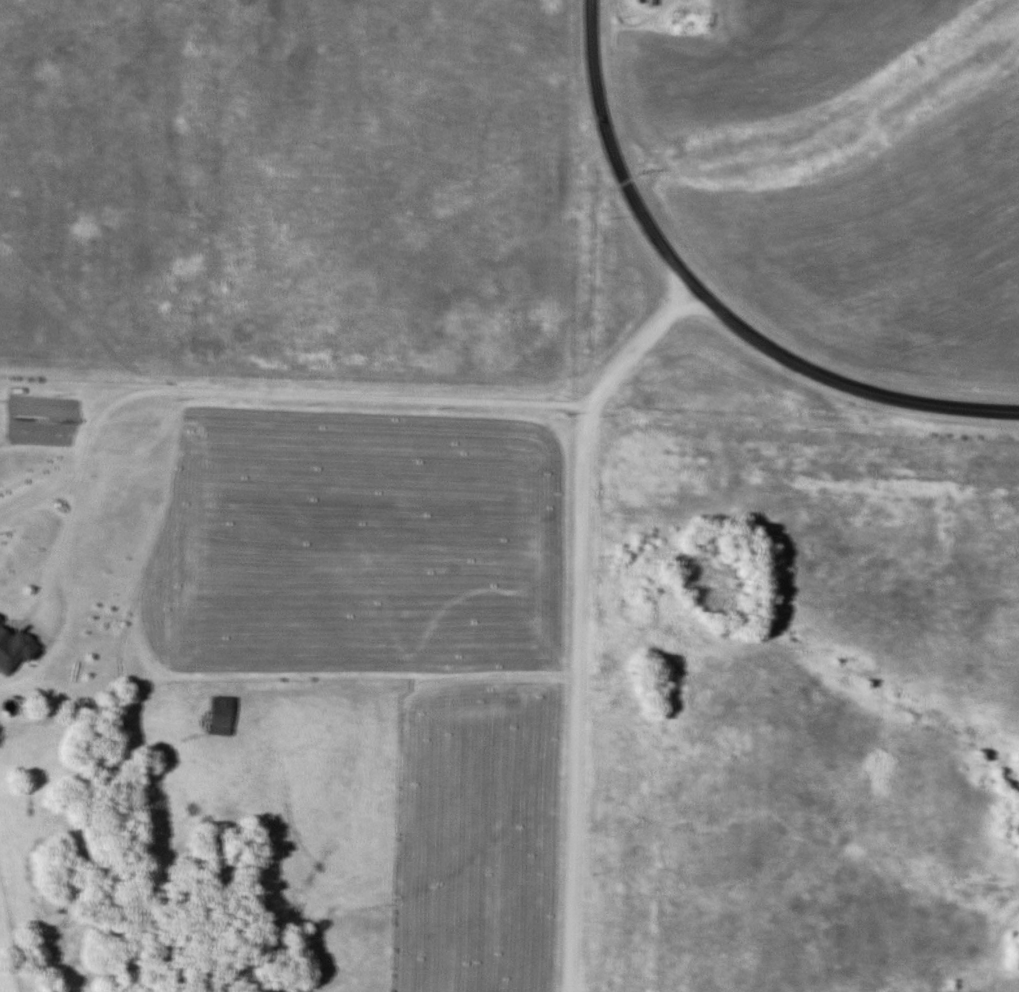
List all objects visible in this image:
road: (612, 151)
road: (841, 381)
road: (232, 393)
road: (34, 498)
road: (572, 614)
building: (217, 716)

